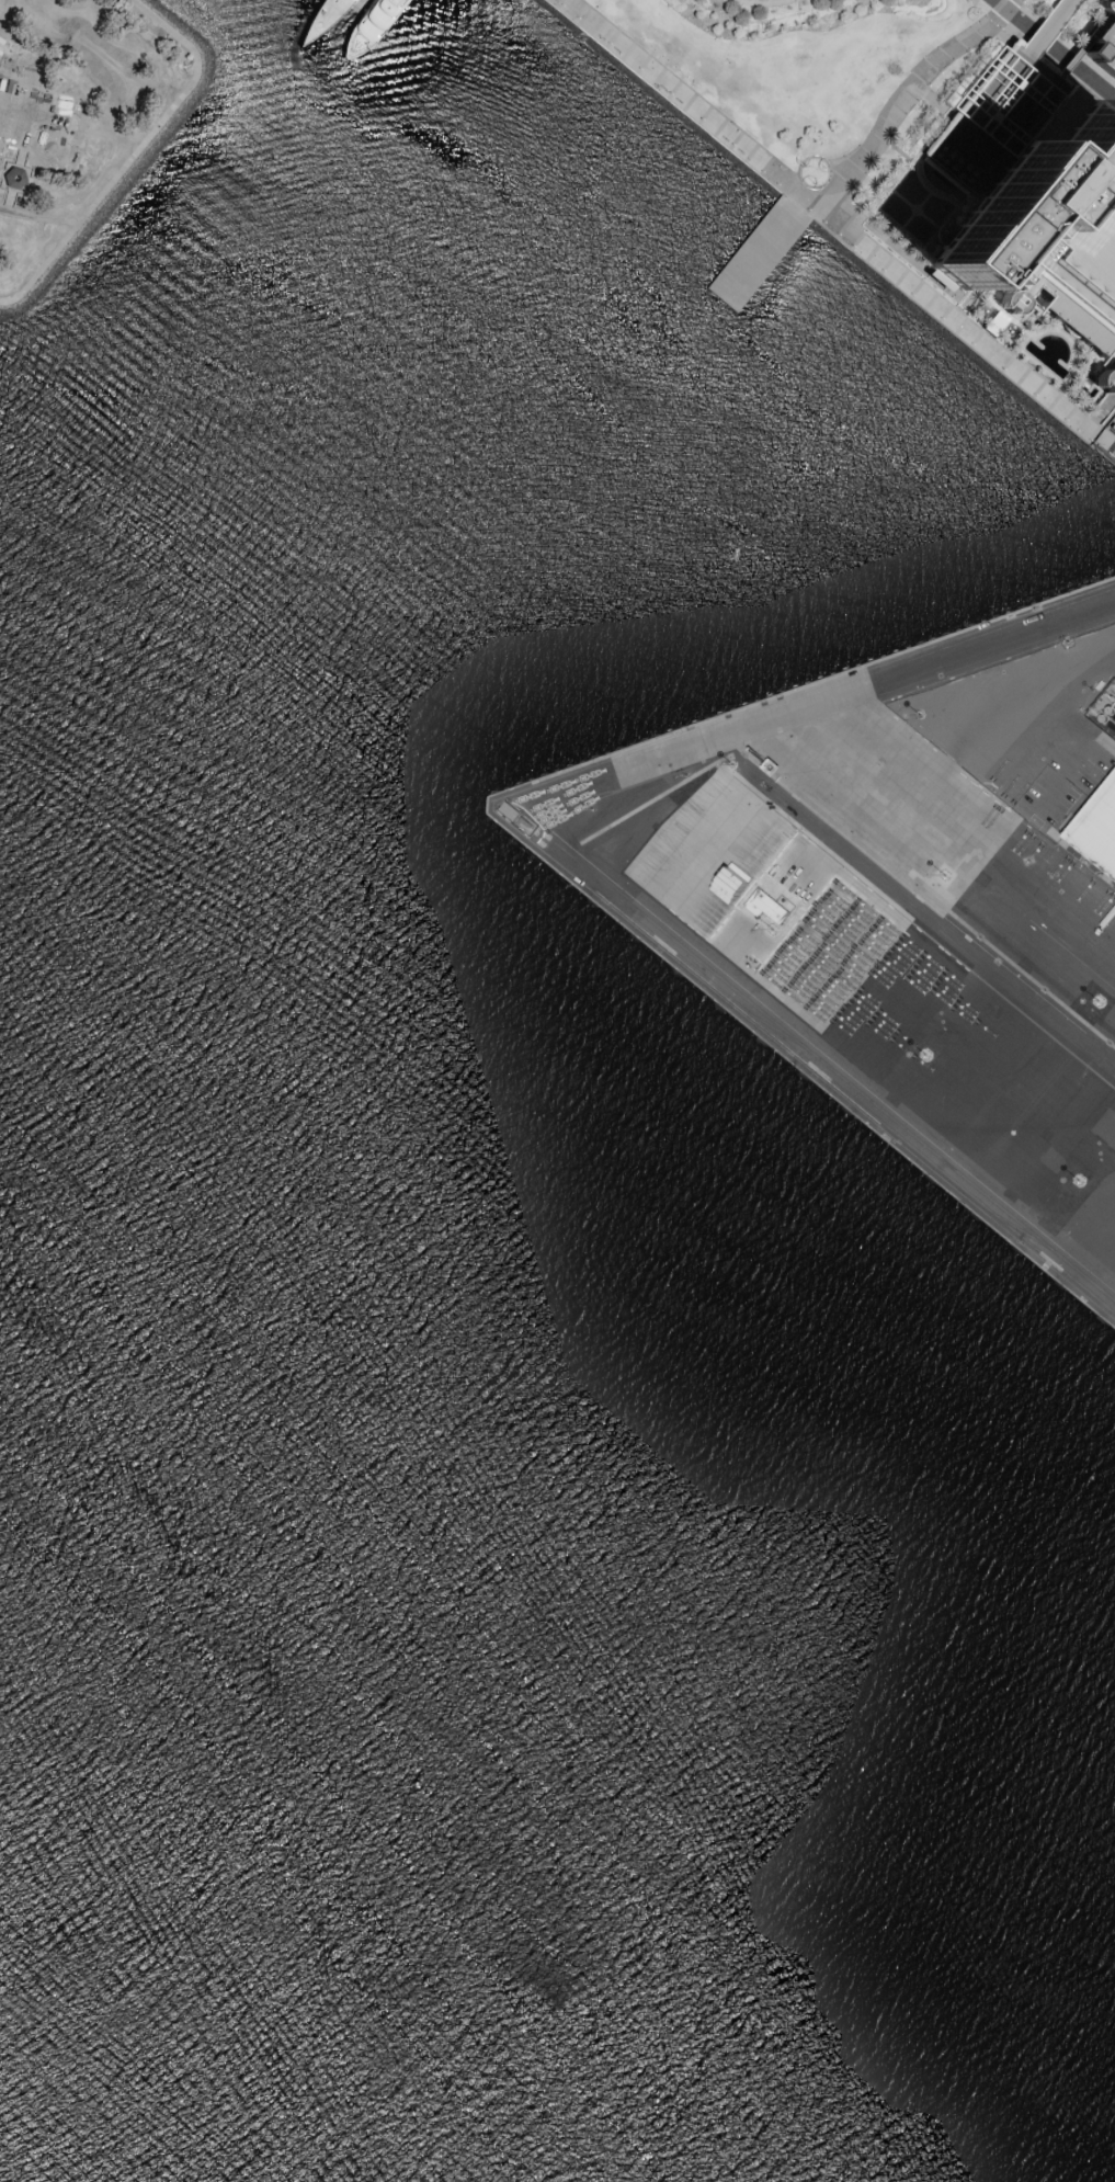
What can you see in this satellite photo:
road: (765, 1)
road: (1, 3)
pier: (357, 4)
road: (1050, 27)
road: (1065, 42)
building: (1103, 45)
parking lot: (1103, 45)
road: (1081, 48)
road: (1054, 52)
road: (1042, 59)
road: (1050, 81)
road: (908, 95)
road: (931, 101)
road: (691, 105)
park: (76, 117)
building: (1001, 118)
park: (36, 127)
road: (979, 152)
road: (135, 155)
road: (902, 170)
fountain: (815, 175)
building: (12, 180)
pier: (759, 252)
building: (1042, 257)
road: (956, 322)
building: (1096, 828)
road: (570, 853)
road: (945, 857)
railway: (1088, 873)
railway: (1084, 882)
railway: (933, 917)
railway: (931, 924)
railway: (821, 1060)
railway: (819, 1069)

